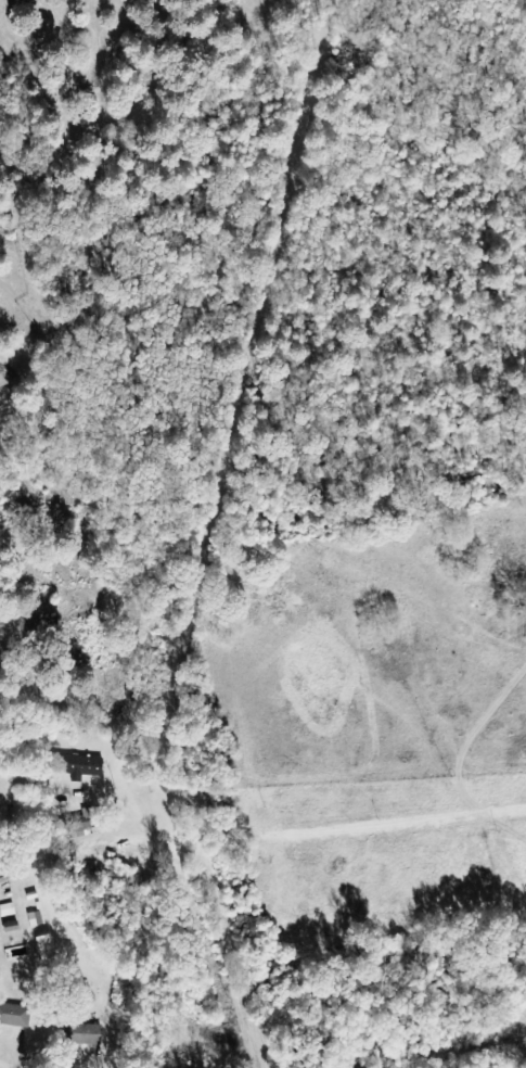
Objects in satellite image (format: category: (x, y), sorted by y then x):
road: (489, 43)
road: (152, 533)
building: (82, 764)
building: (87, 822)
building: (48, 948)
building: (15, 1015)
building: (89, 1033)

